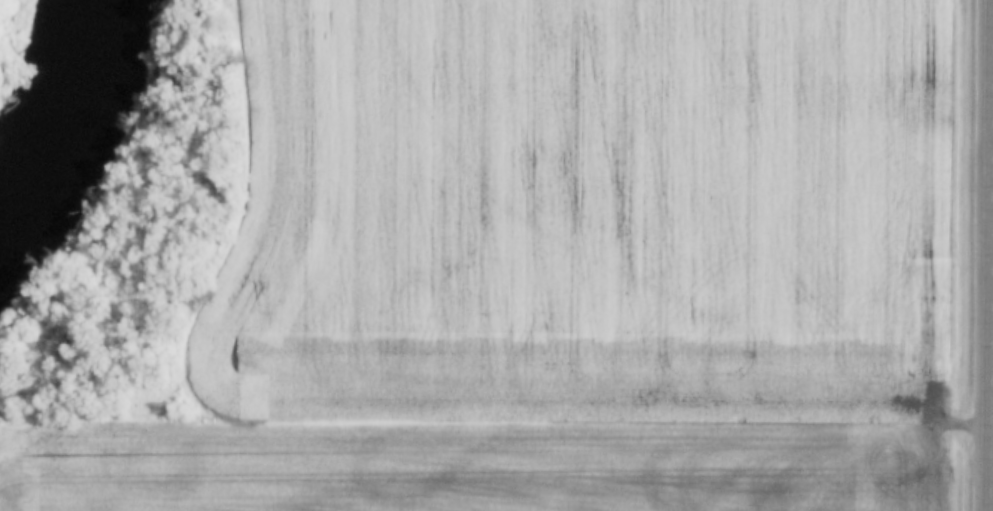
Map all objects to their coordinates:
river: (55, 110)
crop: (585, 210)
road: (987, 255)
crop: (477, 462)

